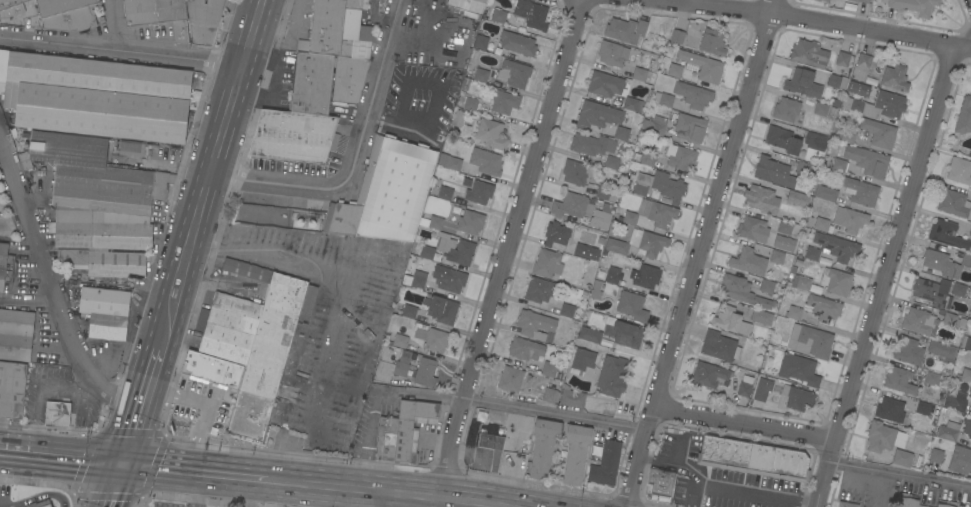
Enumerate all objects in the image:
building: (31, 0)
building: (826, 0)
building: (863, 1)
building: (13, 5)
building: (468, 5)
road: (284, 6)
building: (914, 6)
building: (849, 7)
building: (66, 14)
building: (530, 14)
building: (158, 15)
building: (498, 16)
building: (204, 21)
road: (808, 22)
road: (115, 25)
building: (340, 29)
building: (625, 30)
road: (294, 34)
building: (693, 34)
building: (677, 36)
building: (480, 42)
building: (712, 42)
building: (517, 43)
road: (123, 51)
building: (612, 53)
building: (809, 54)
building: (842, 58)
building: (701, 66)
building: (861, 67)
building: (675, 71)
building: (514, 73)
building: (639, 74)
building: (481, 75)
building: (895, 77)
building: (348, 78)
building: (836, 81)
building: (311, 83)
building: (802, 83)
building: (606, 85)
building: (858, 88)
building: (692, 94)
building: (95, 96)
road: (436, 99)
building: (663, 99)
building: (504, 102)
building: (887, 102)
building: (470, 104)
building: (633, 104)
building: (857, 106)
building: (820, 108)
building: (786, 109)
building: (597, 115)
building: (964, 116)
building: (457, 118)
building: (654, 125)
building: (689, 127)
building: (491, 133)
building: (621, 133)
building: (879, 133)
building: (845, 134)
building: (293, 136)
building: (782, 139)
building: (815, 141)
building: (591, 144)
building: (131, 148)
building: (636, 156)
building: (680, 157)
road: (357, 159)
building: (648, 159)
building: (865, 160)
building: (449, 162)
building: (490, 163)
building: (612, 163)
building: (839, 165)
building: (802, 167)
building: (959, 170)
building: (577, 172)
building: (774, 172)
road: (215, 174)
building: (93, 175)
building: (668, 186)
building: (640, 189)
building: (860, 191)
building: (479, 192)
building: (386, 193)
building: (444, 193)
building: (606, 193)
building: (825, 193)
building: (797, 198)
building: (762, 199)
building: (458, 201)
building: (953, 203)
building: (571, 207)
building: (657, 212)
building: (601, 217)
building: (630, 218)
building: (849, 219)
building: (808, 221)
building: (432, 222)
building: (470, 222)
building: (821, 224)
building: (784, 227)
building: (751, 228)
building: (97, 231)
building: (970, 231)
building: (556, 234)
building: (947, 234)
building: (648, 242)
building: (784, 242)
building: (616, 246)
road: (507, 247)
building: (832, 248)
building: (586, 249)
building: (457, 250)
building: (427, 252)
road: (701, 252)
building: (778, 256)
building: (966, 260)
building: (748, 261)
building: (105, 262)
building: (798, 262)
building: (547, 263)
building: (940, 263)
building: (6, 266)
building: (793, 269)
road: (334, 275)
building: (612, 275)
building: (646, 276)
road: (883, 278)
building: (419, 279)
building: (450, 280)
building: (835, 281)
building: (801, 282)
building: (767, 285)
building: (539, 289)
building: (596, 289)
building: (815, 289)
building: (958, 289)
road: (51, 290)
building: (743, 292)
building: (930, 292)
building: (969, 292)
building: (585, 294)
road: (28, 300)
building: (631, 306)
building: (823, 307)
building: (566, 309)
building: (442, 310)
building: (409, 311)
building: (105, 312)
building: (794, 312)
building: (761, 316)
building: (949, 319)
building: (729, 320)
building: (918, 321)
building: (534, 324)
building: (228, 327)
building: (420, 330)
building: (16, 334)
building: (590, 334)
building: (624, 334)
building: (435, 340)
building: (400, 341)
building: (810, 341)
building: (967, 343)
building: (719, 346)
building: (268, 347)
building: (525, 349)
building: (909, 351)
building: (942, 351)
building: (580, 360)
building: (402, 363)
building: (549, 369)
building: (798, 369)
building: (423, 373)
building: (709, 374)
building: (966, 375)
building: (559, 376)
building: (612, 376)
building: (932, 378)
building: (510, 379)
building: (901, 380)
building: (555, 382)
building: (745, 386)
road: (69, 388)
building: (12, 389)
building: (763, 389)
building: (970, 393)
building: (549, 395)
building: (572, 397)
building: (795, 398)
building: (970, 400)
building: (957, 402)
building: (205, 403)
road: (139, 405)
road: (516, 407)
building: (923, 408)
building: (890, 409)
building: (57, 414)
road: (35, 419)
road: (744, 422)
building: (967, 426)
building: (411, 427)
building: (948, 431)
building: (882, 437)
building: (386, 438)
building: (543, 446)
building: (492, 448)
building: (576, 452)
building: (936, 456)
road: (59, 458)
building: (753, 458)
building: (902, 458)
building: (960, 460)
building: (606, 464)
traffic signals: (118, 465)
road: (681, 466)
road: (193, 470)
road: (901, 472)
building: (660, 482)
road: (111, 486)
road: (354, 486)
road: (198, 489)
road: (252, 491)
road: (275, 492)
road: (756, 493)
road: (304, 494)
road: (34, 496)
road: (345, 496)
road: (453, 497)
road: (381, 498)
road: (481, 501)
building: (907, 501)
road: (520, 502)
road: (463, 503)
building: (39, 504)
road: (560, 504)
building: (847, 504)
building: (948, 504)
road: (501, 505)
road: (818, 506)

